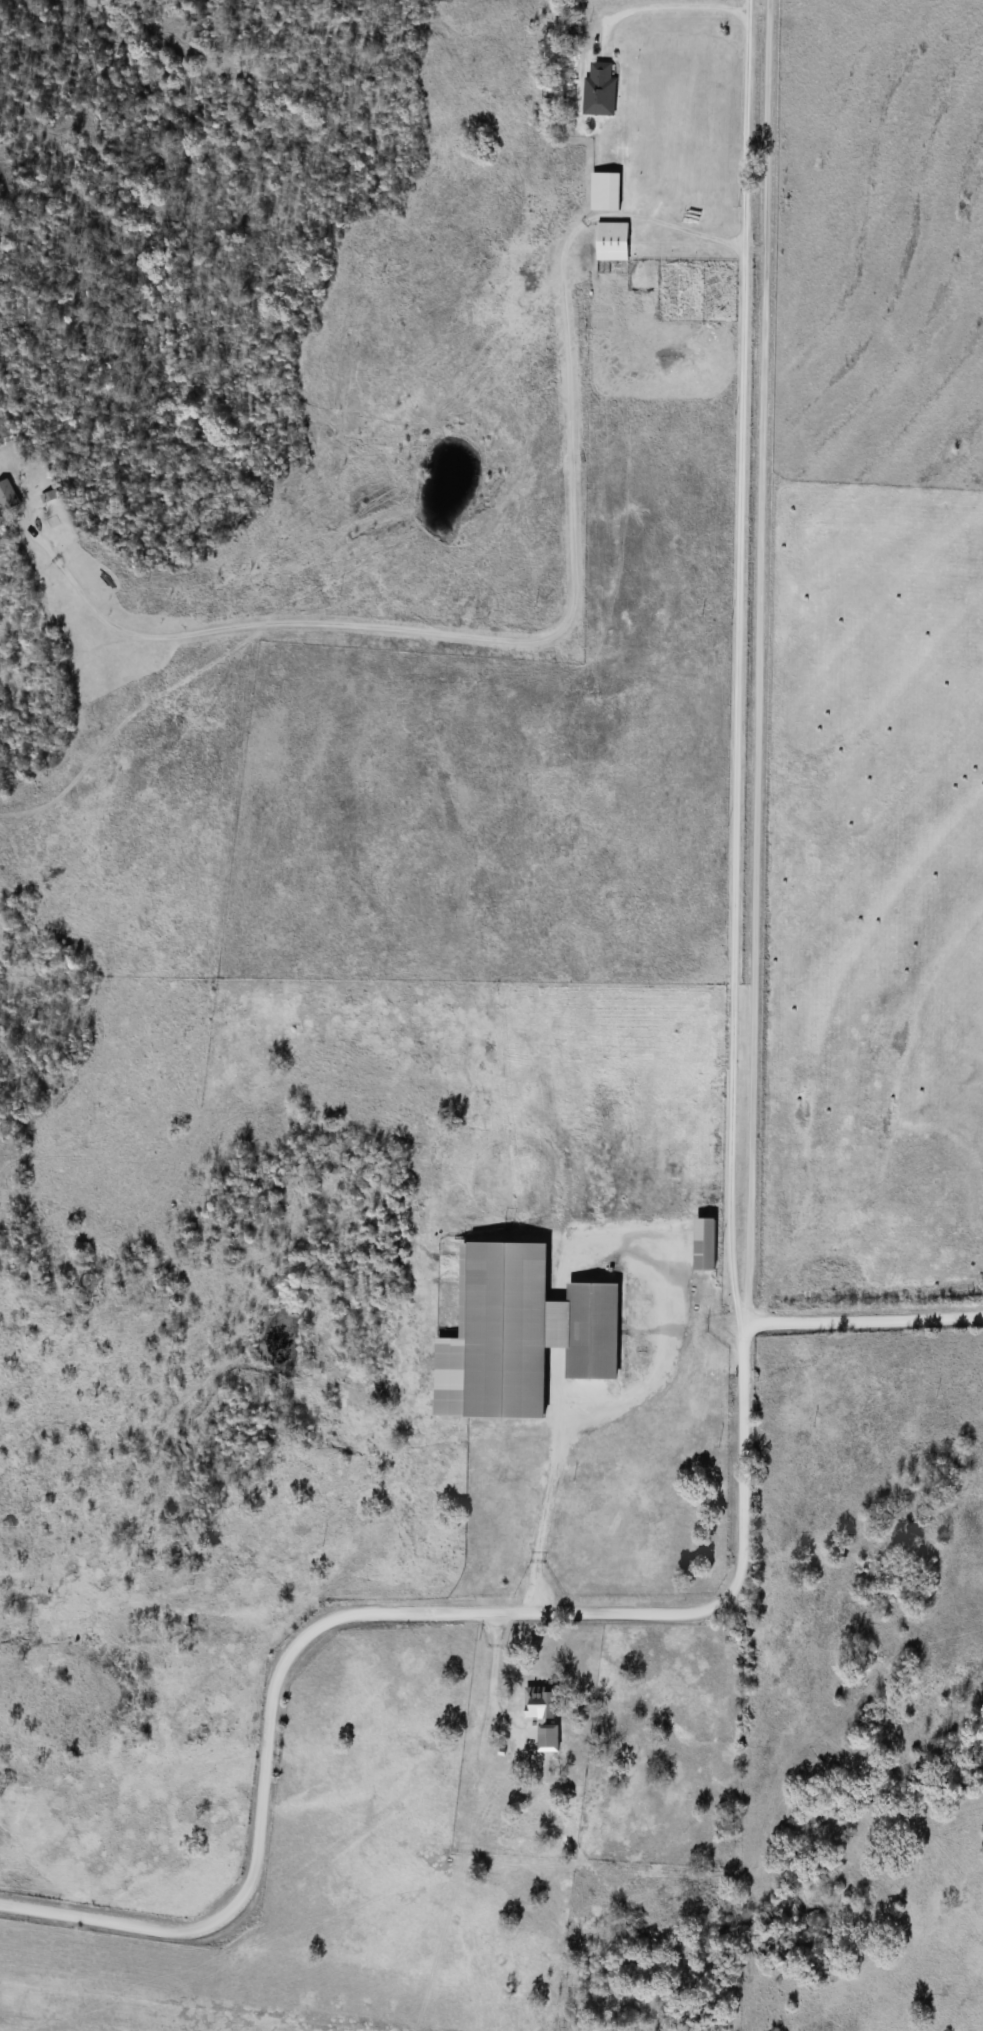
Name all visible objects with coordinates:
road: (670, 10)
building: (601, 90)
building: (607, 192)
building: (615, 242)
building: (10, 497)
road: (564, 611)
road: (751, 660)
road: (927, 661)
road: (728, 662)
building: (709, 1243)
road: (861, 1322)
building: (525, 1334)
road: (549, 1507)
road: (387, 1607)
road: (488, 1677)
building: (544, 1703)

